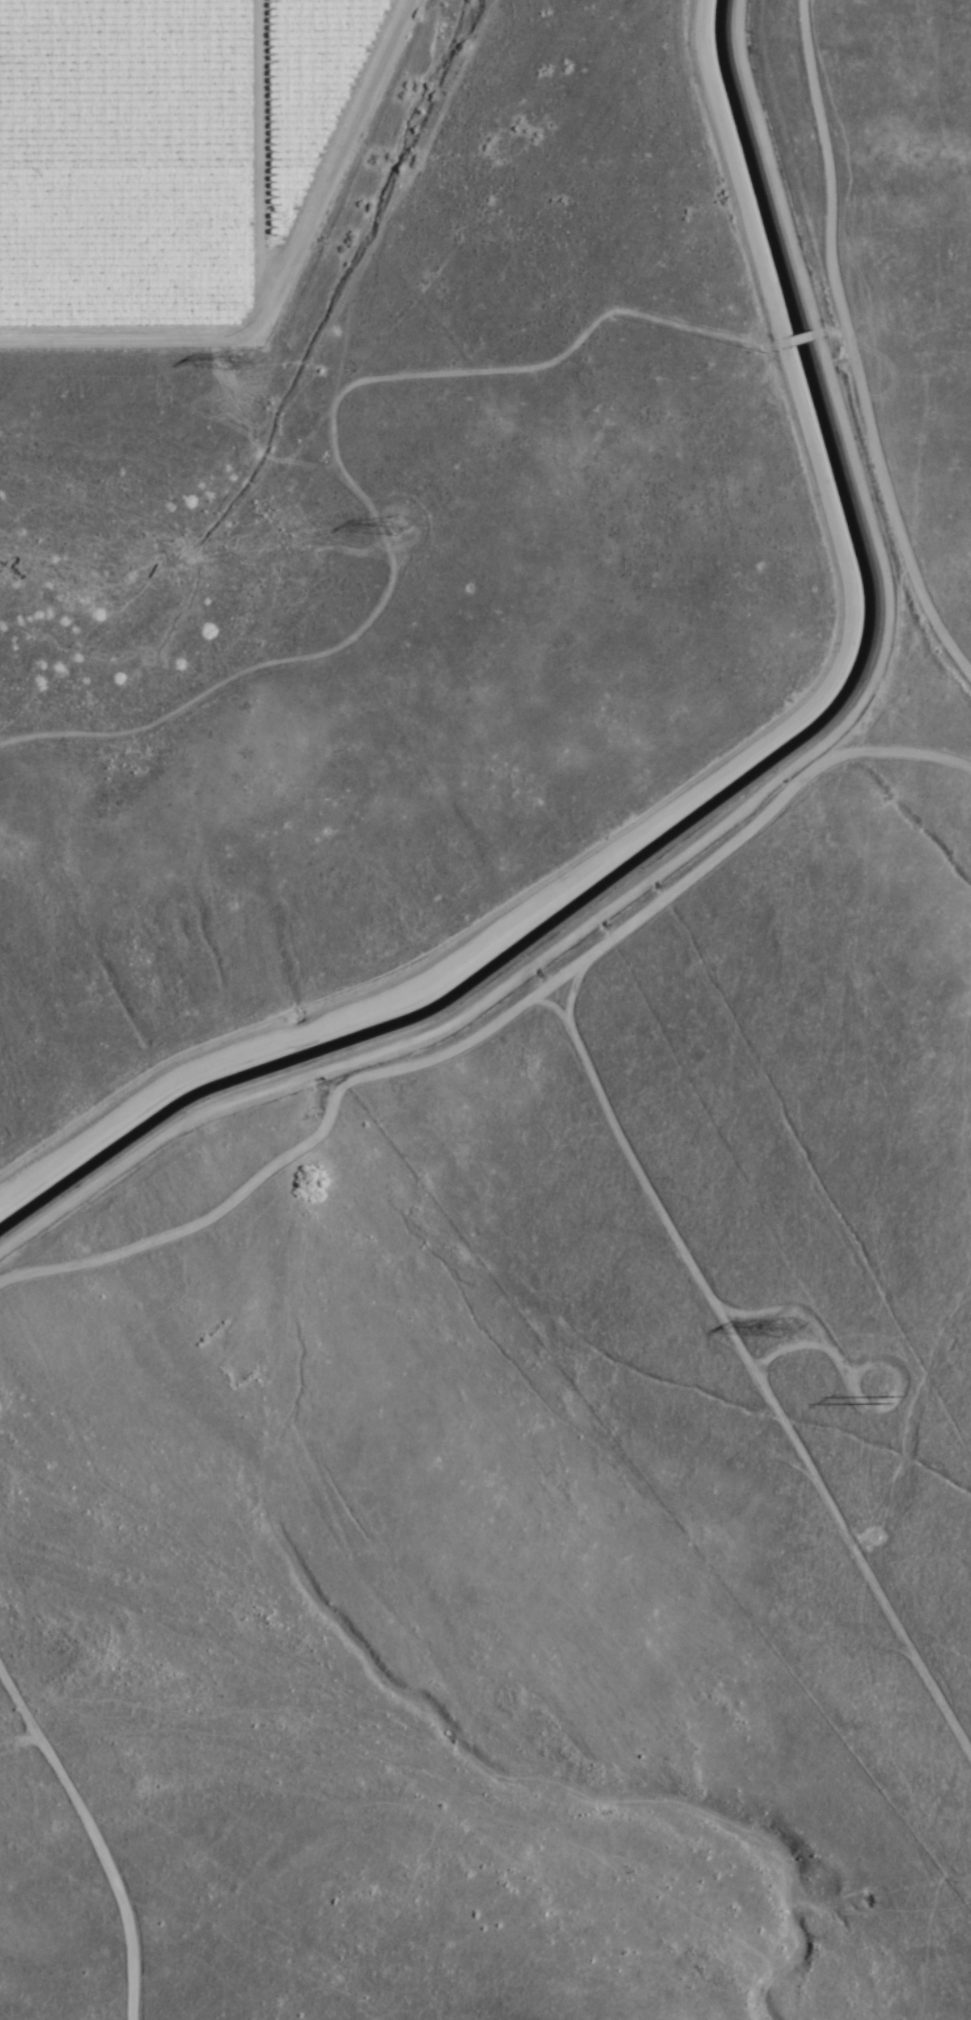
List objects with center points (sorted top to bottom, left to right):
crop: (158, 153)
power tower: (245, 359)
road: (248, 393)
power tower: (406, 528)
road: (5, 719)
road: (496, 1038)
power tower: (791, 1328)
power tower: (882, 1384)

